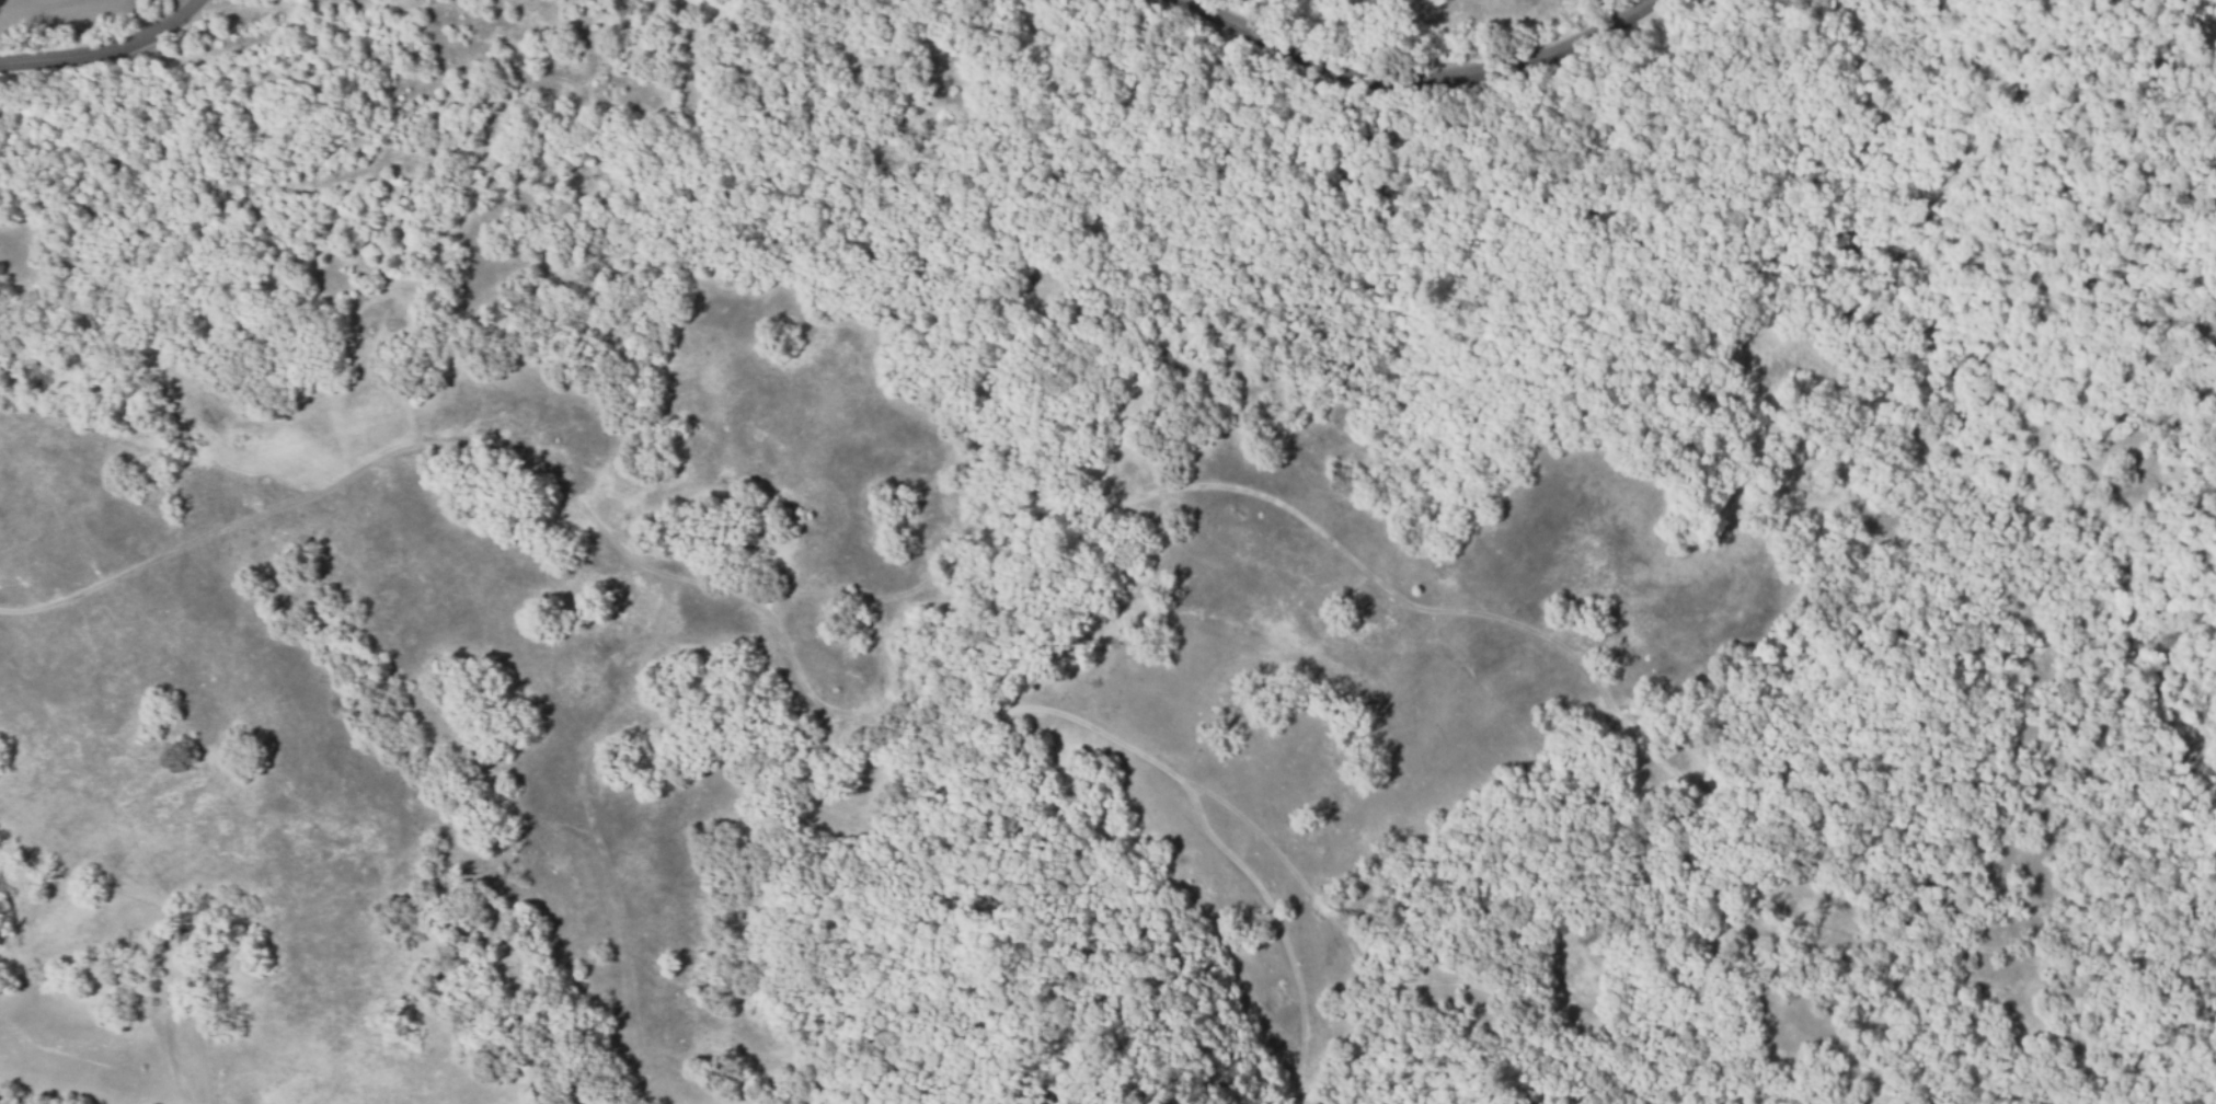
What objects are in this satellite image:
road: (104, 49)
road: (1426, 74)
building: (156, 1003)

